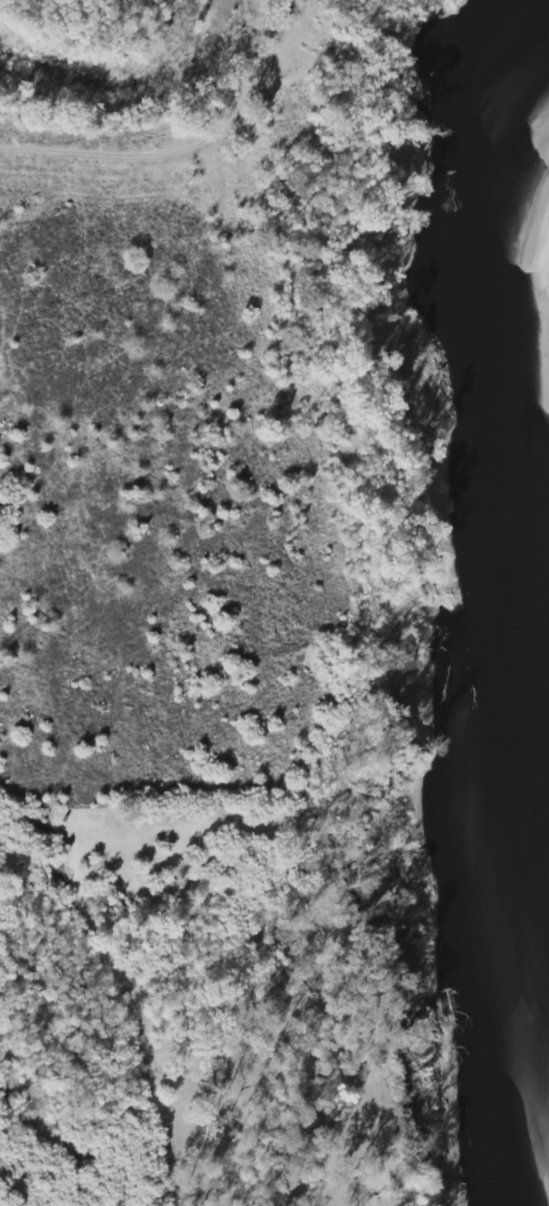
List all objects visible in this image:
road: (196, 154)
river: (507, 314)

